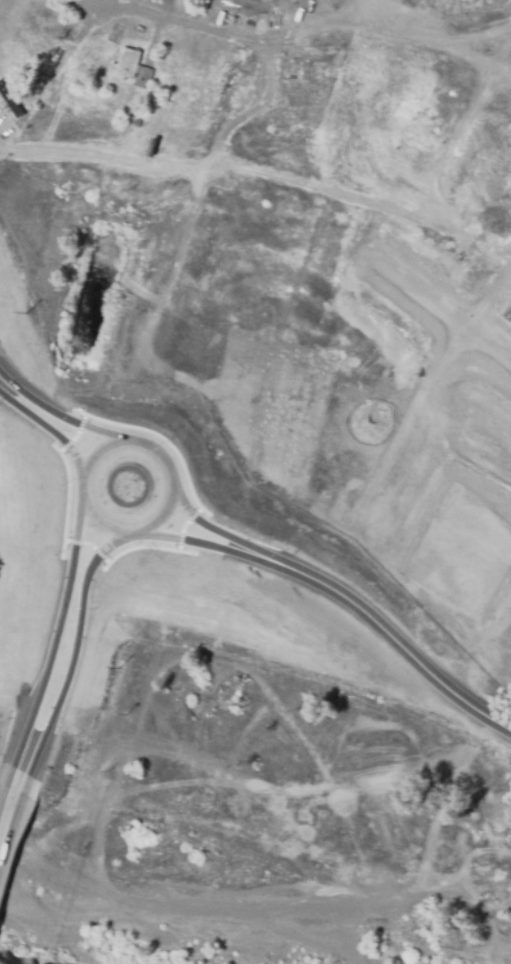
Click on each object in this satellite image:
building: (316, 51)
building: (125, 61)
building: (276, 151)
road: (48, 406)
road: (82, 473)
road: (352, 590)
road: (64, 636)
road: (12, 802)

